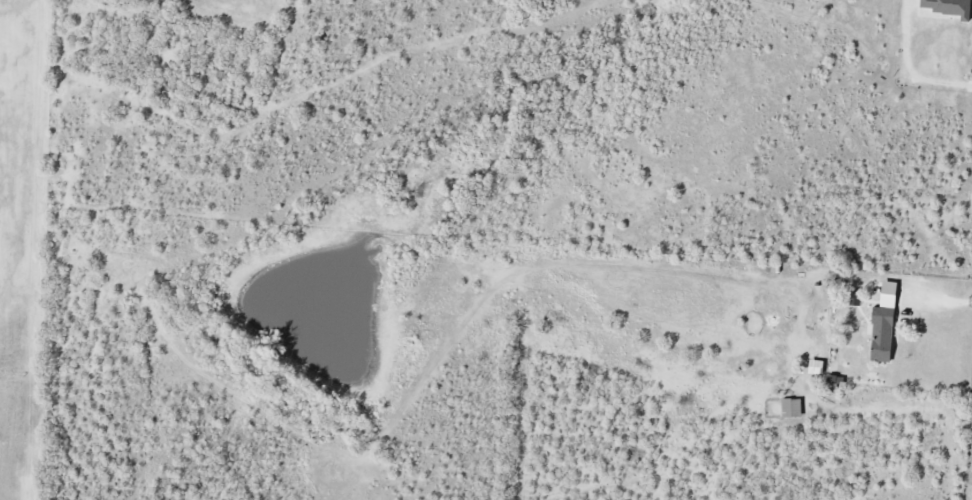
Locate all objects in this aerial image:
building: (949, 8)
road: (909, 68)
building: (885, 326)
building: (818, 369)
building: (793, 409)

